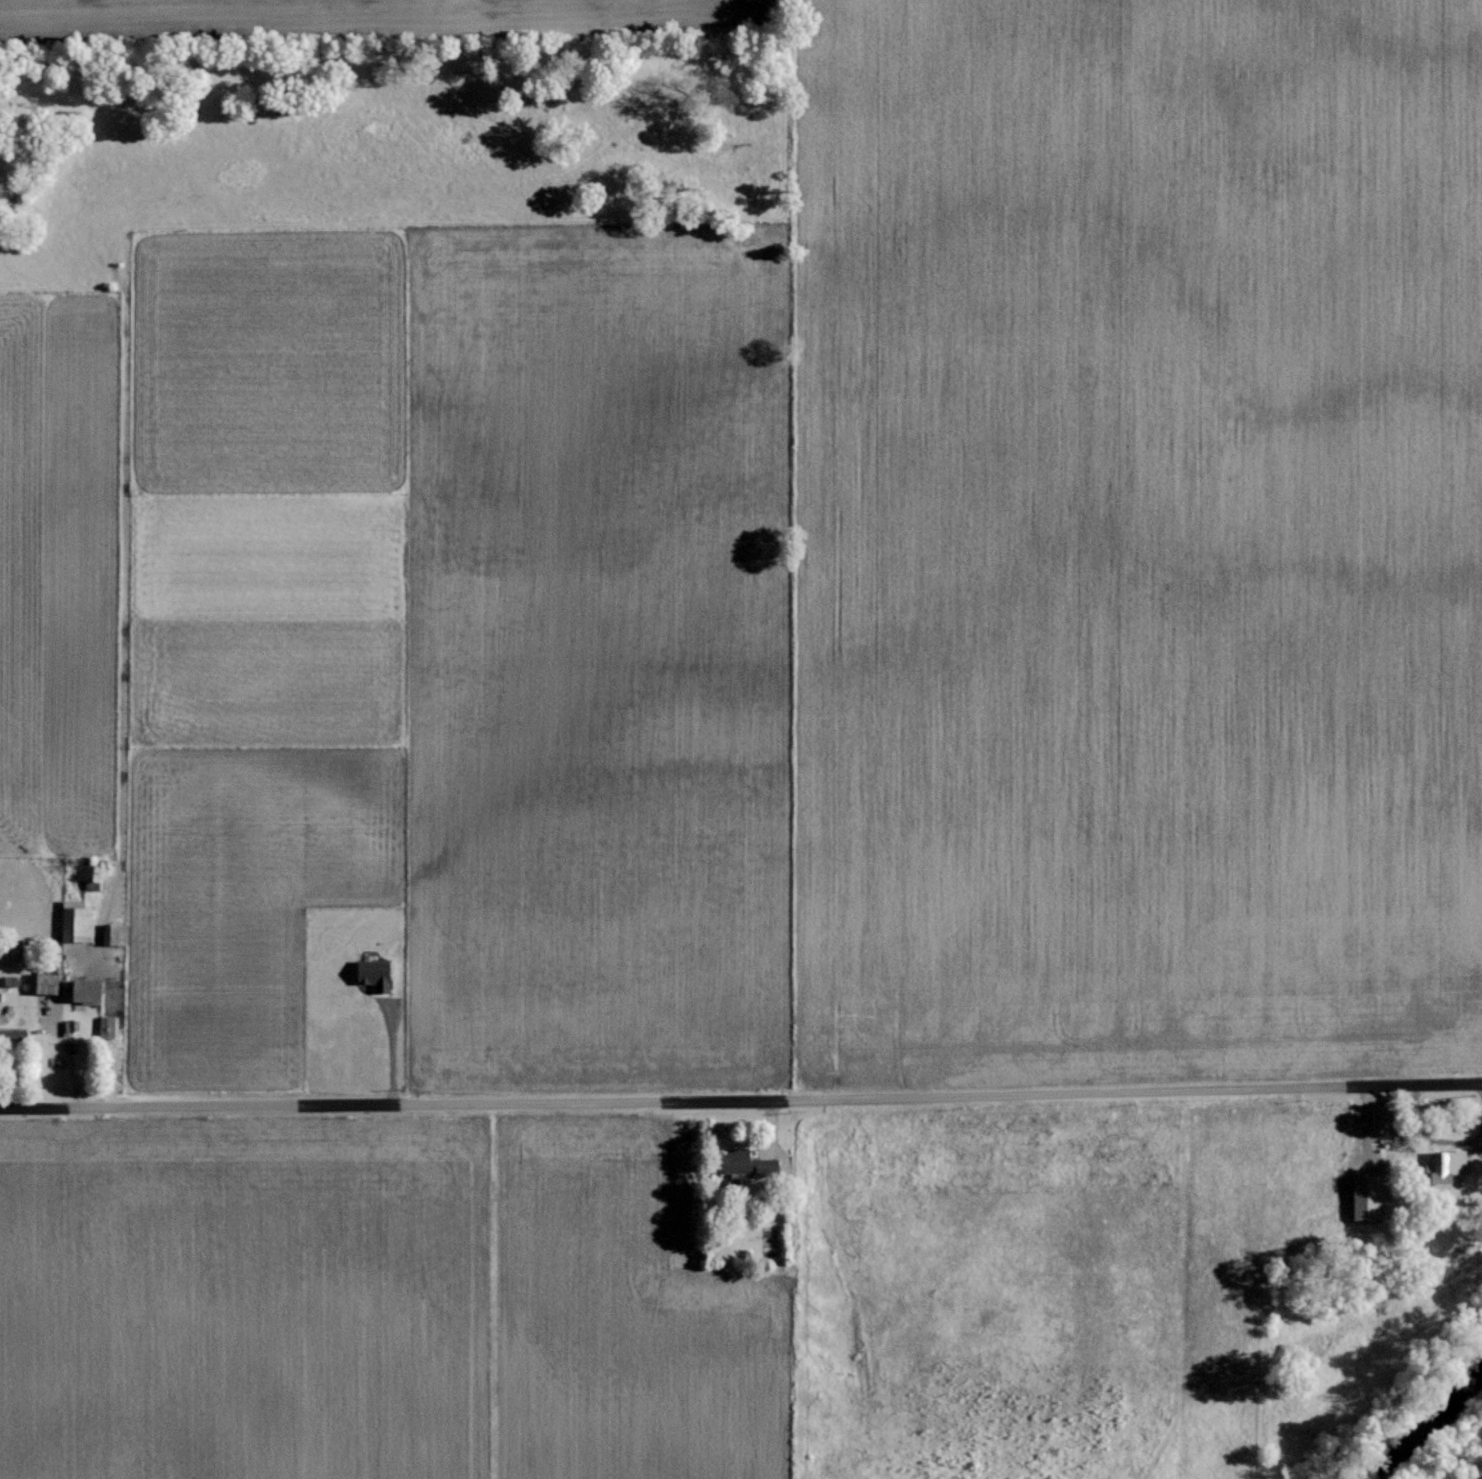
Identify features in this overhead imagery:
building: (73, 920)
building: (7, 951)
building: (373, 974)
building: (8, 979)
building: (44, 982)
building: (83, 990)
building: (106, 1026)
road: (741, 1094)
building: (743, 1162)
building: (1443, 1164)
building: (1363, 1196)
river: (1430, 1432)

